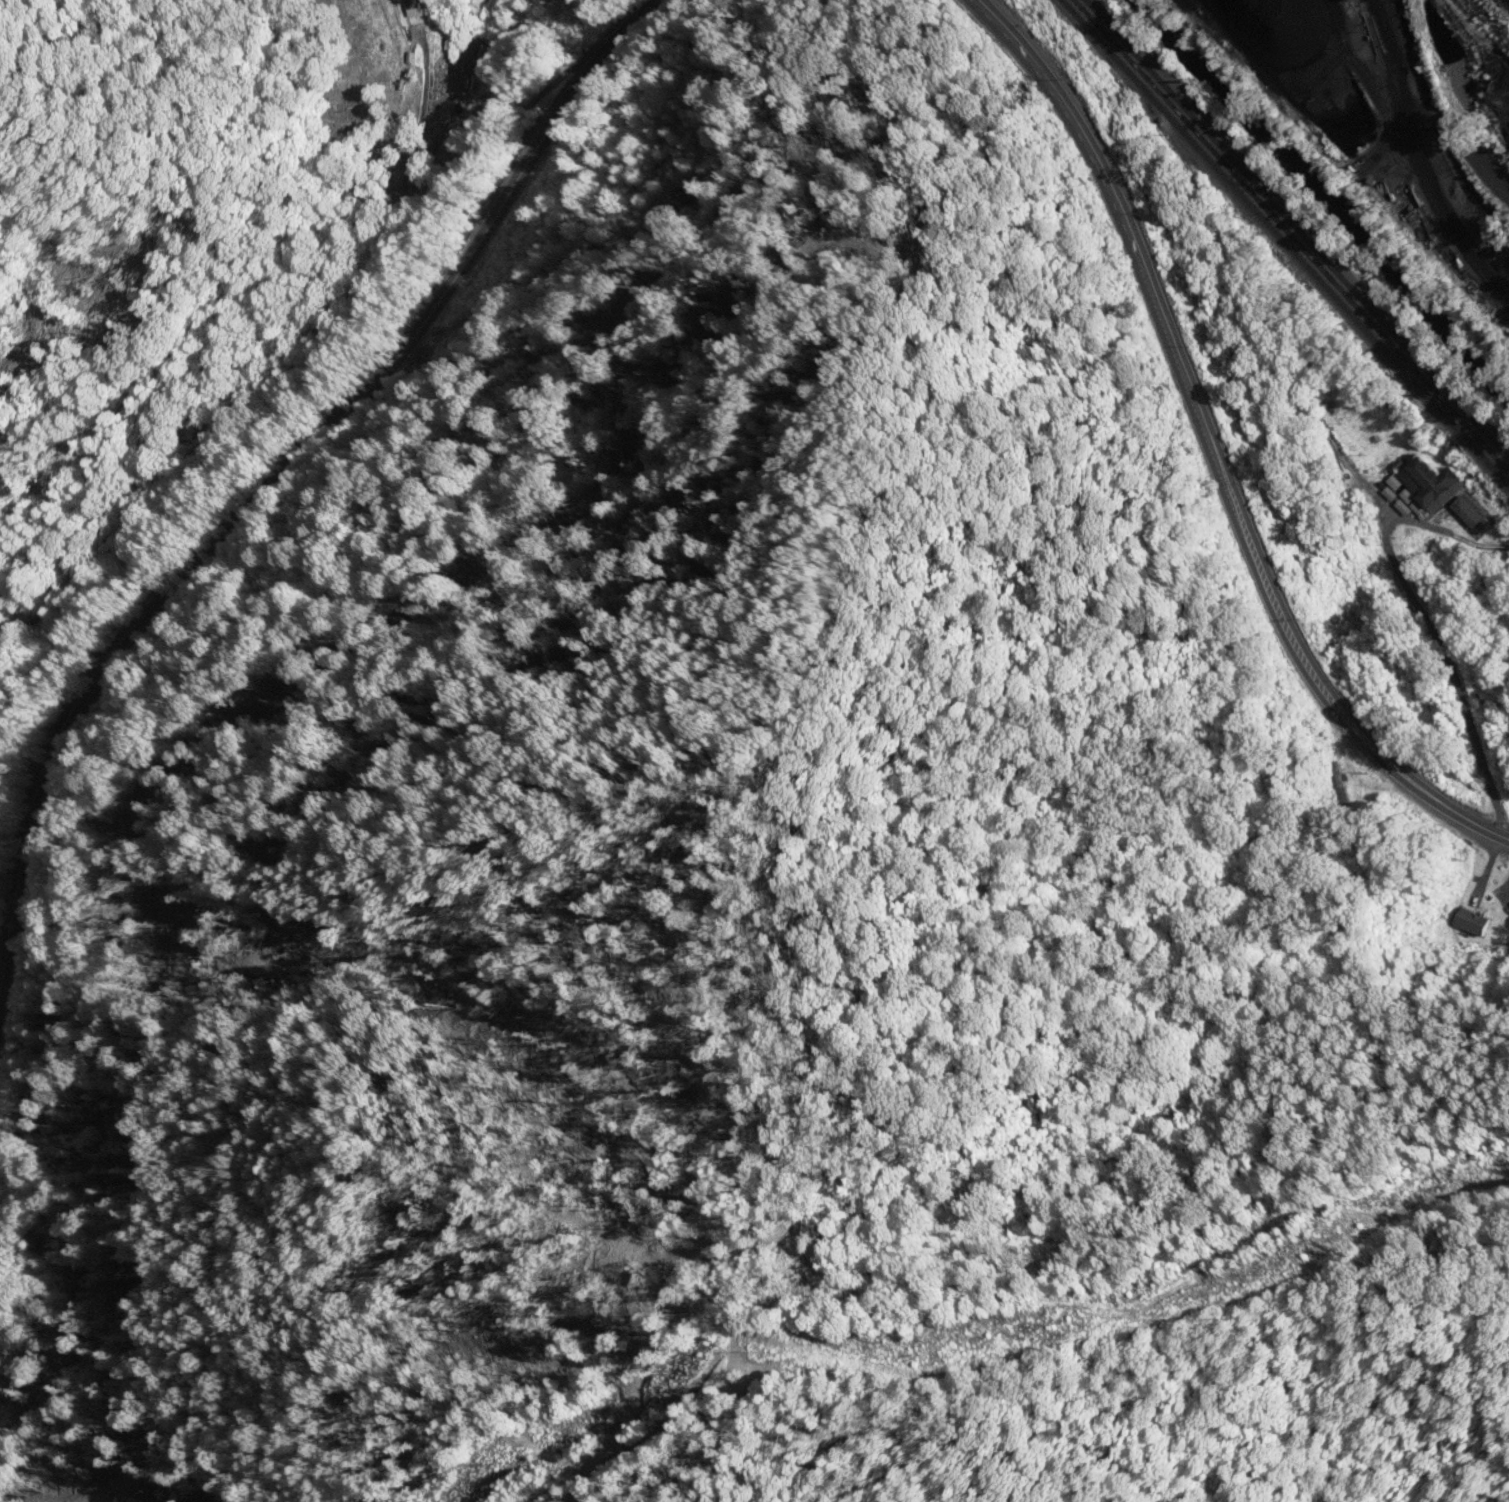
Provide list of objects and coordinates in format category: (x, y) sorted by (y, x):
railway: (1435, 101)
quarry: (1402, 107)
river: (1322, 198)
railway: (1297, 229)
railway: (1291, 235)
railway: (1286, 242)
road: (1210, 446)
building: (1423, 485)
road: (274, 497)
building: (1466, 514)
road: (1489, 670)

